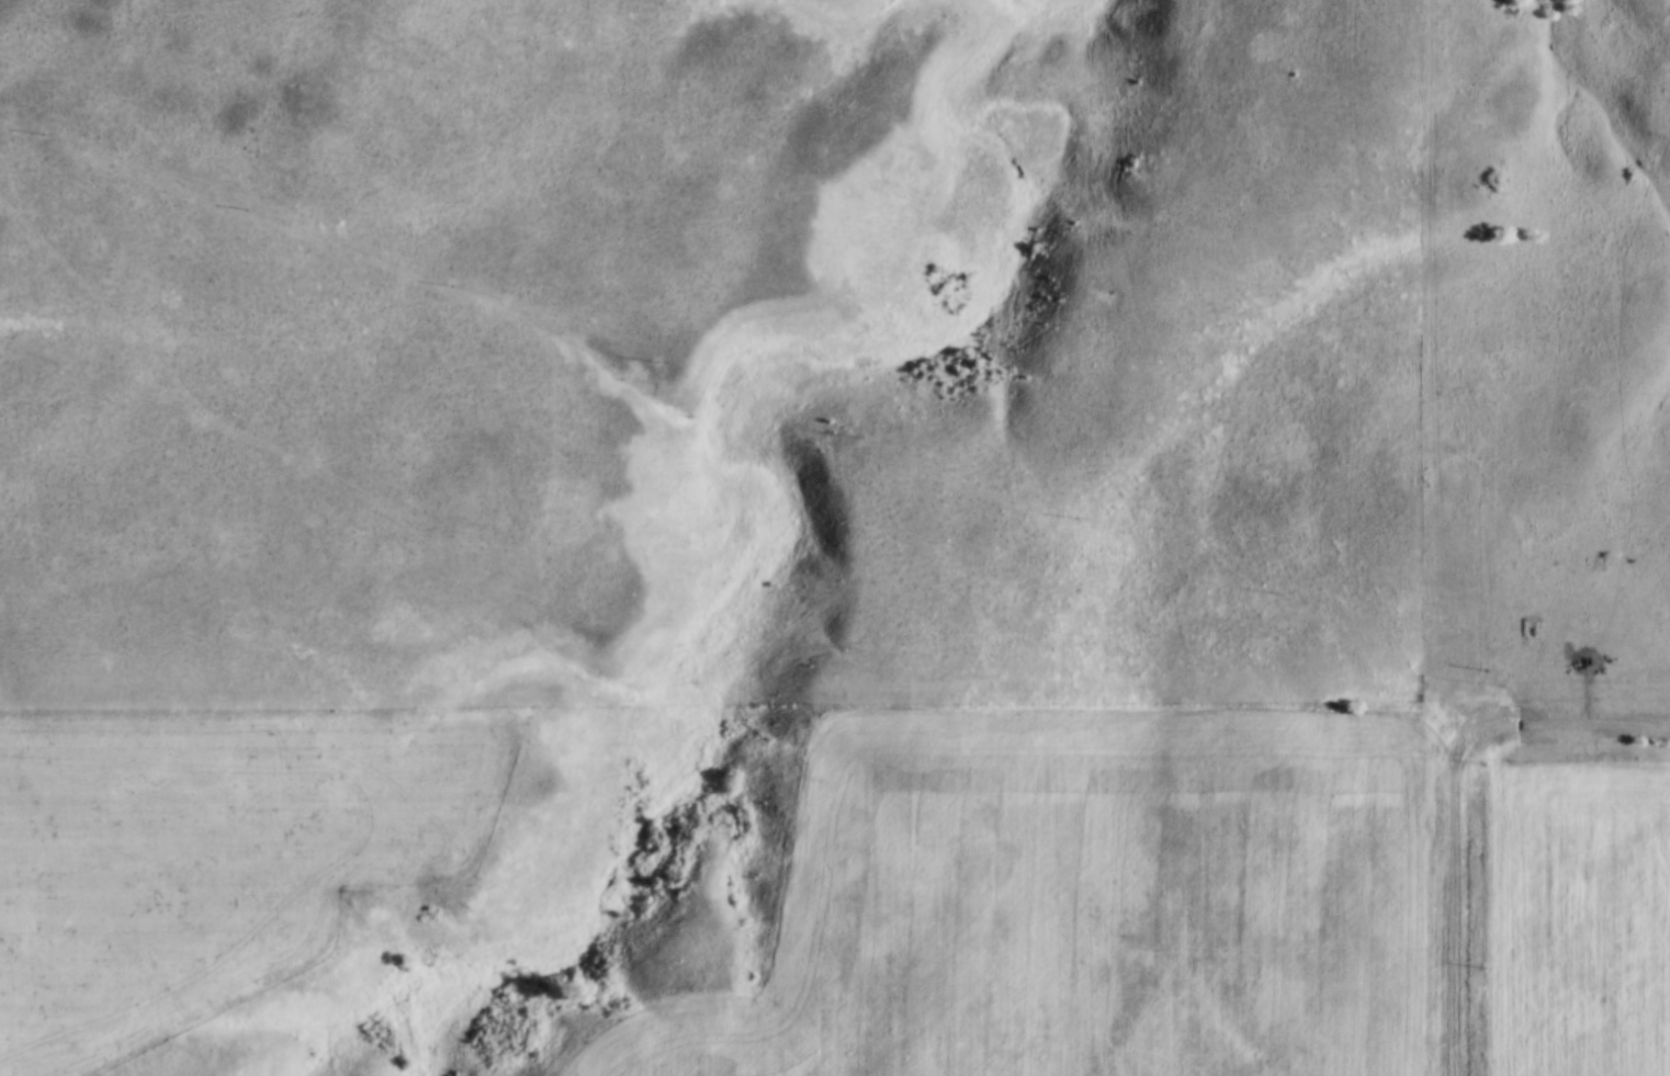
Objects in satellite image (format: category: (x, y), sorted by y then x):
road: (1573, 720)
road: (1451, 902)

